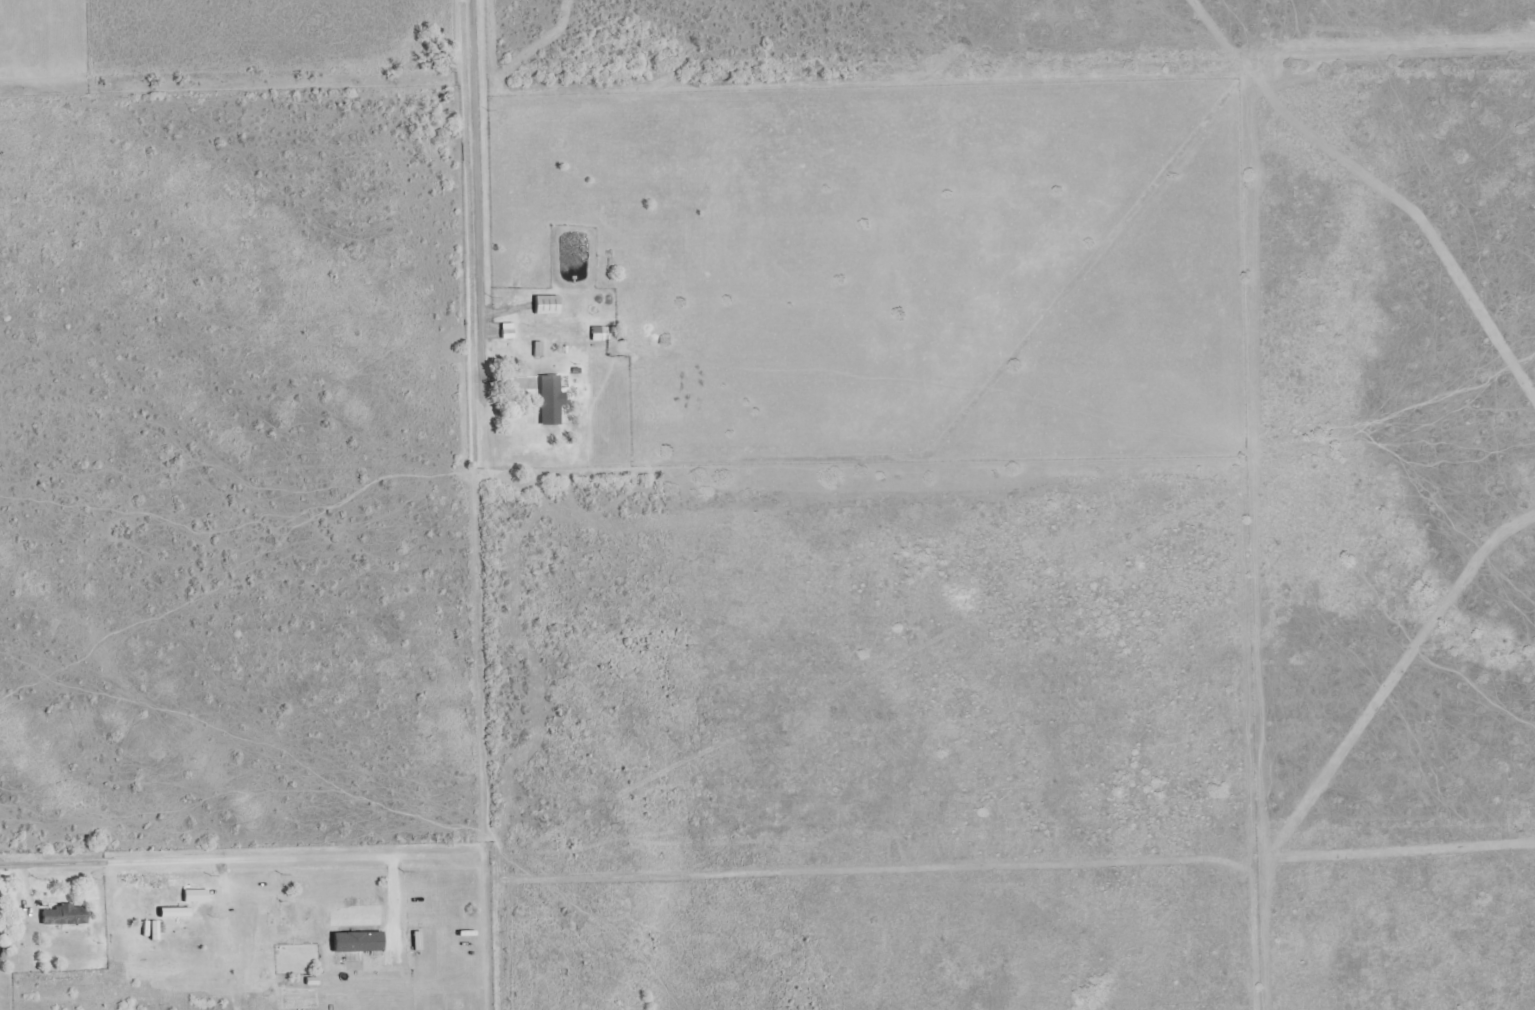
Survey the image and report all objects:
road: (481, 228)
building: (546, 305)
building: (506, 331)
road: (48, 858)
building: (195, 896)
building: (174, 913)
building: (63, 916)
building: (154, 931)
building: (357, 943)

